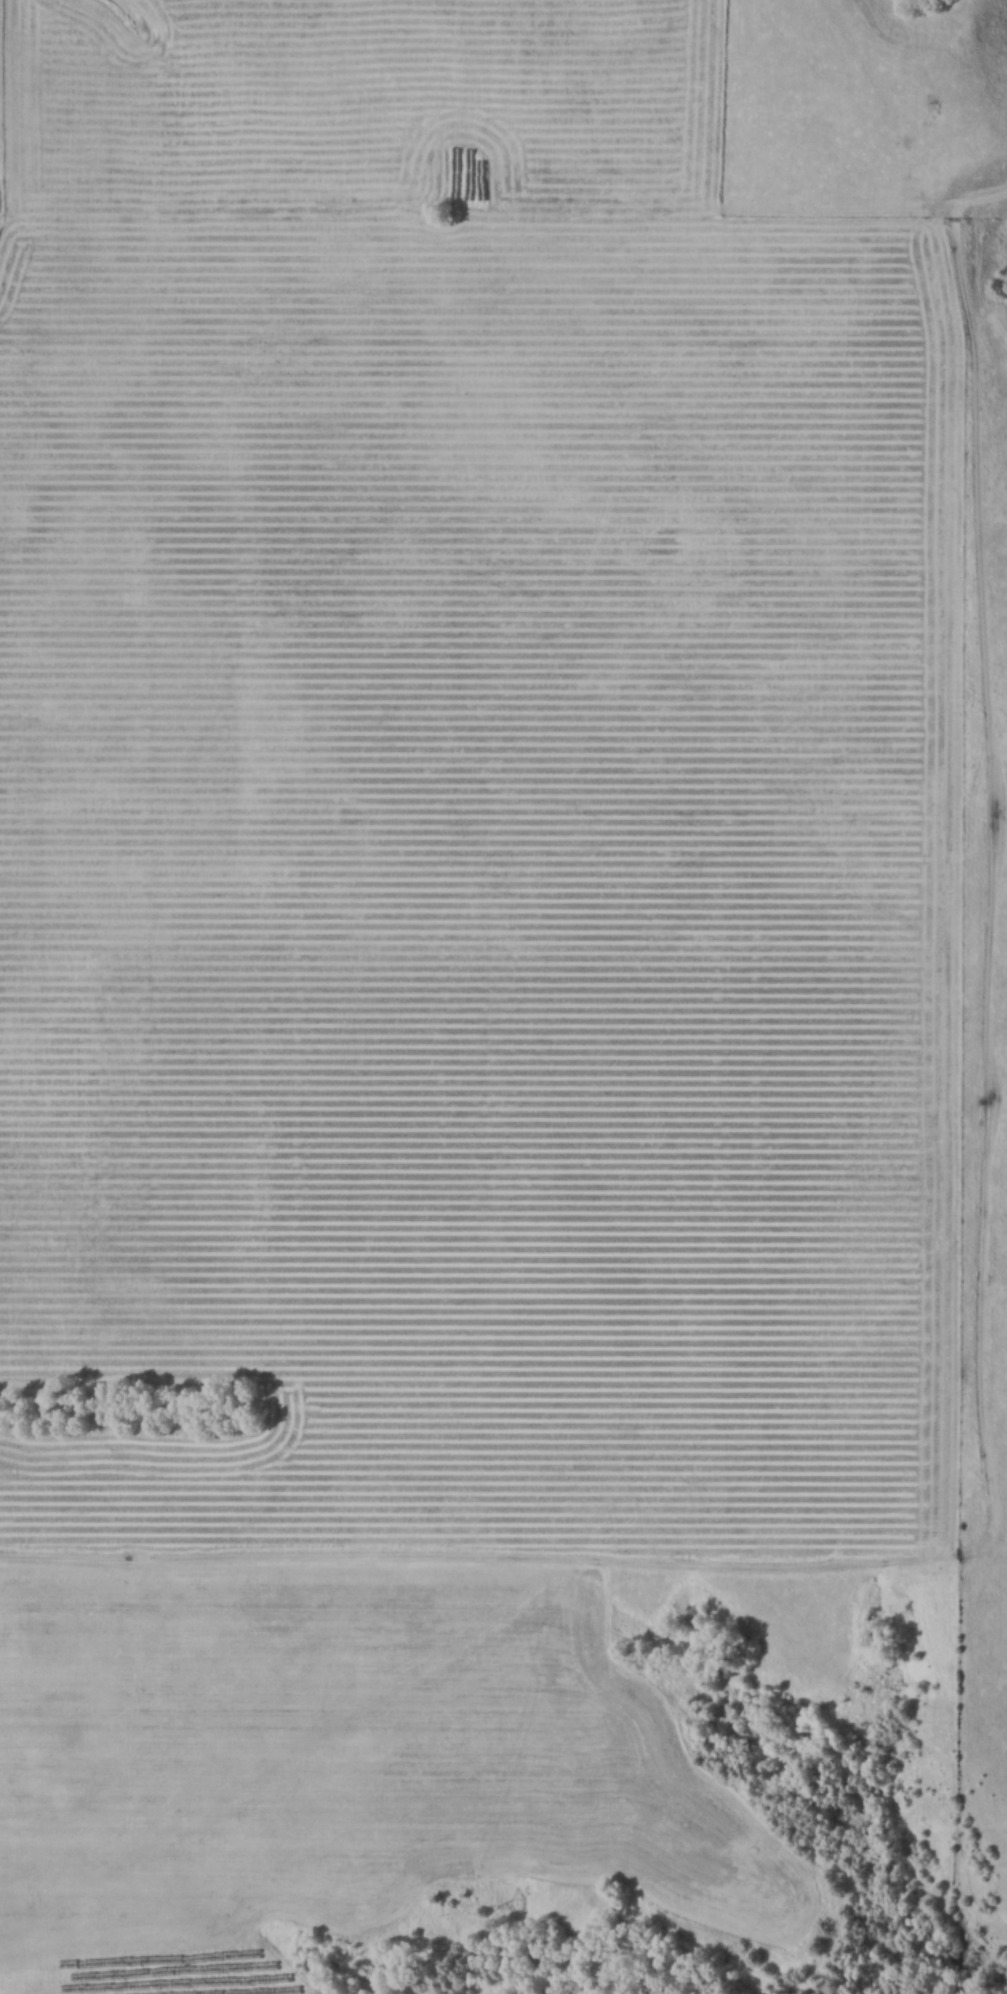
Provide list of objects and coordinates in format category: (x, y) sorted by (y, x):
road: (982, 199)

